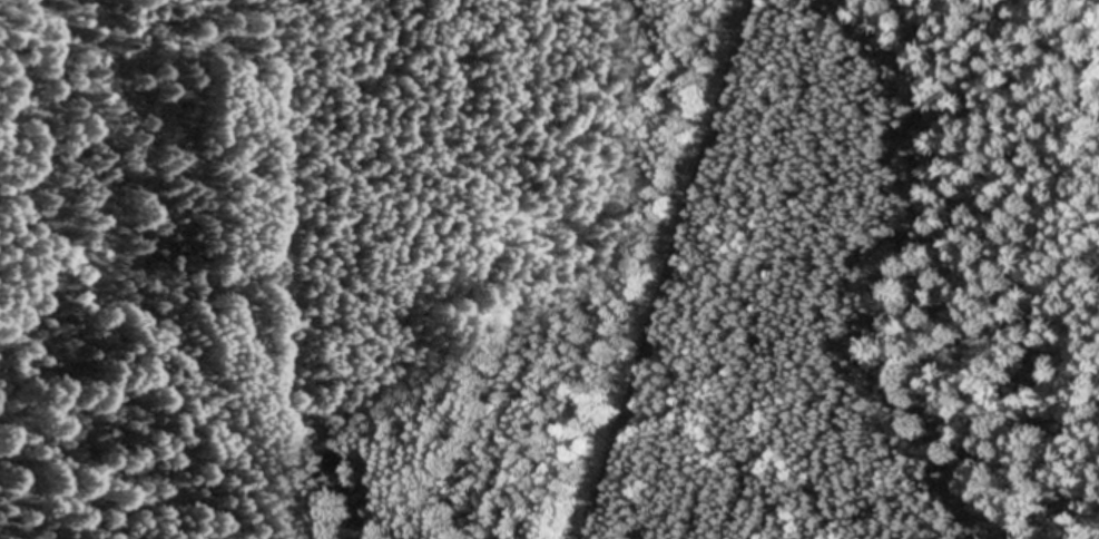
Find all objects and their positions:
road: (677, 269)

